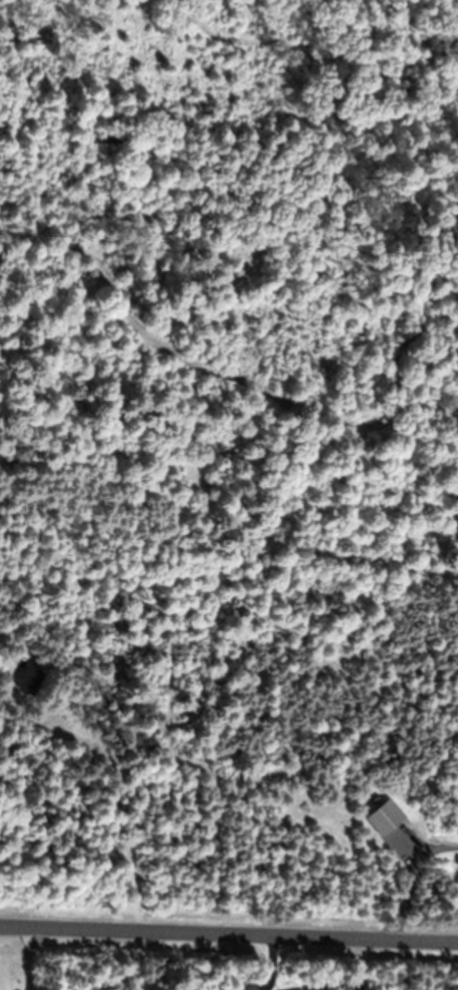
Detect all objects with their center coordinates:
building: (29, 680)
road: (229, 938)

